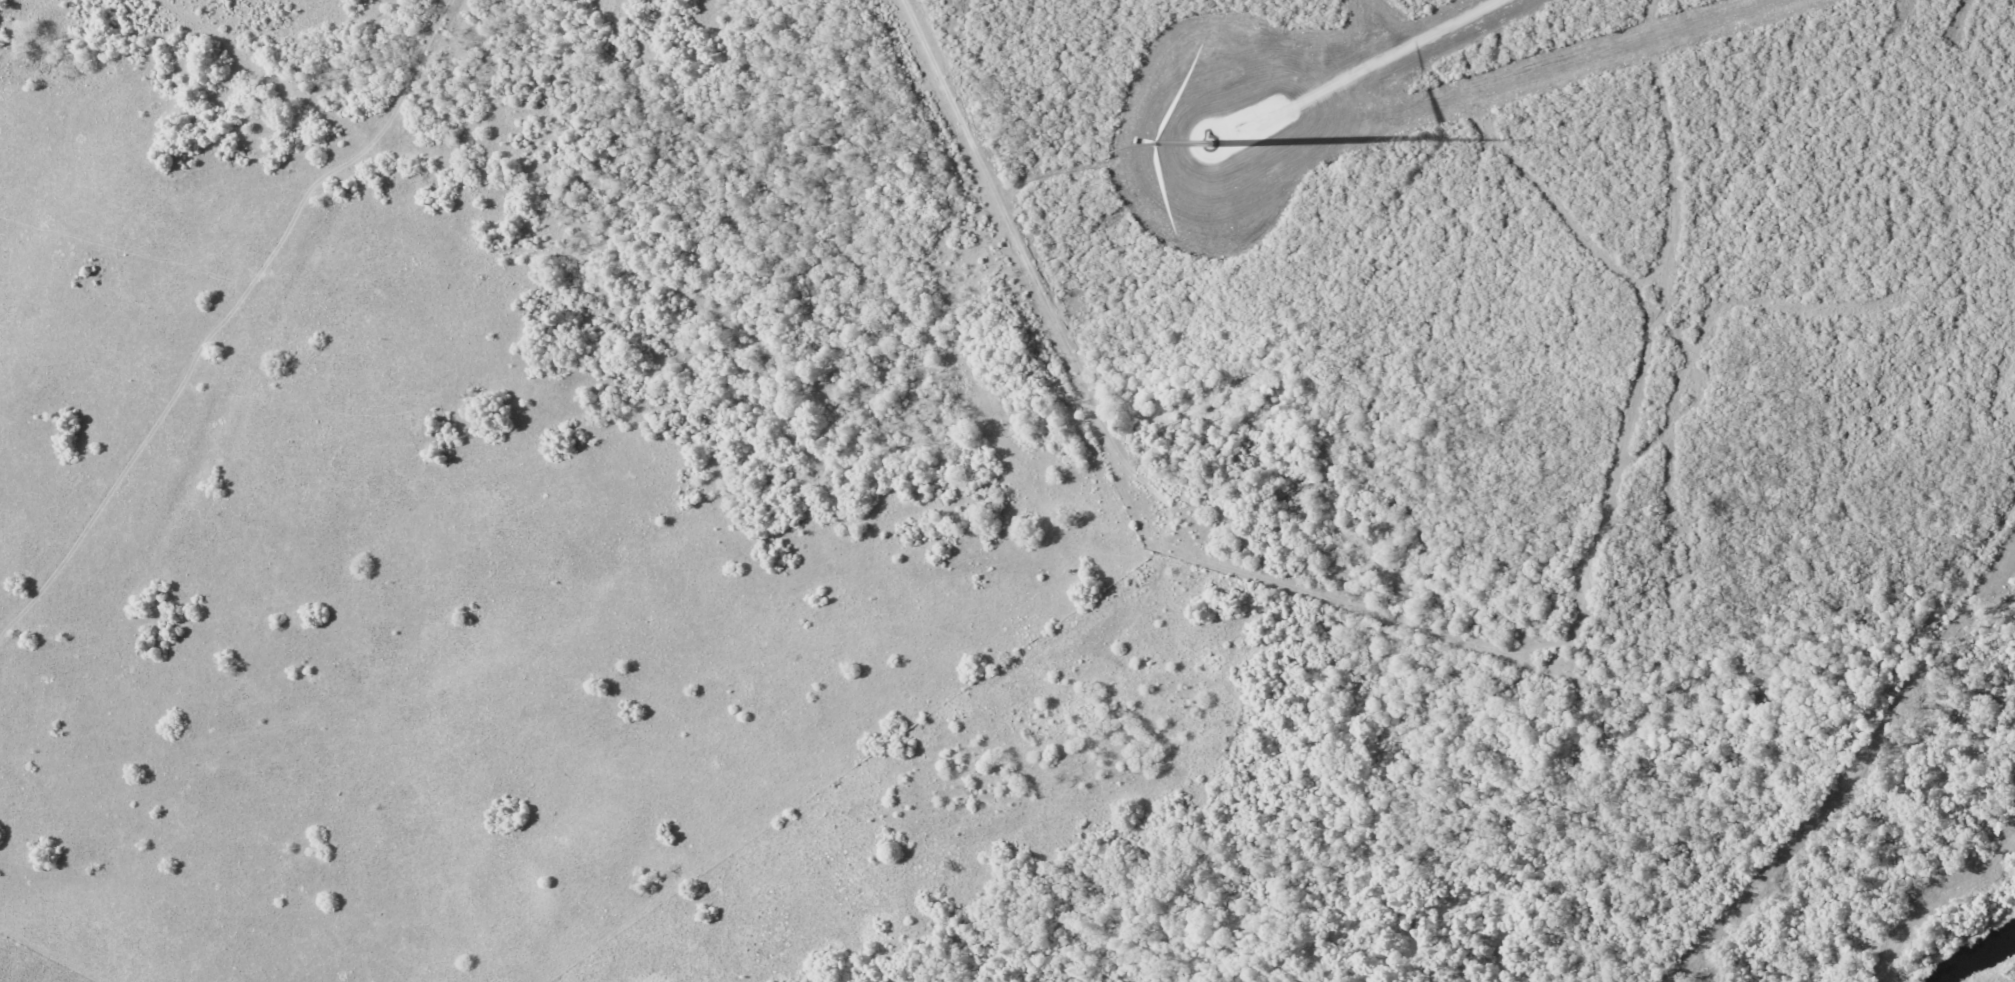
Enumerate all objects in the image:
wind turbine: (1201, 151)
river: (1977, 955)

